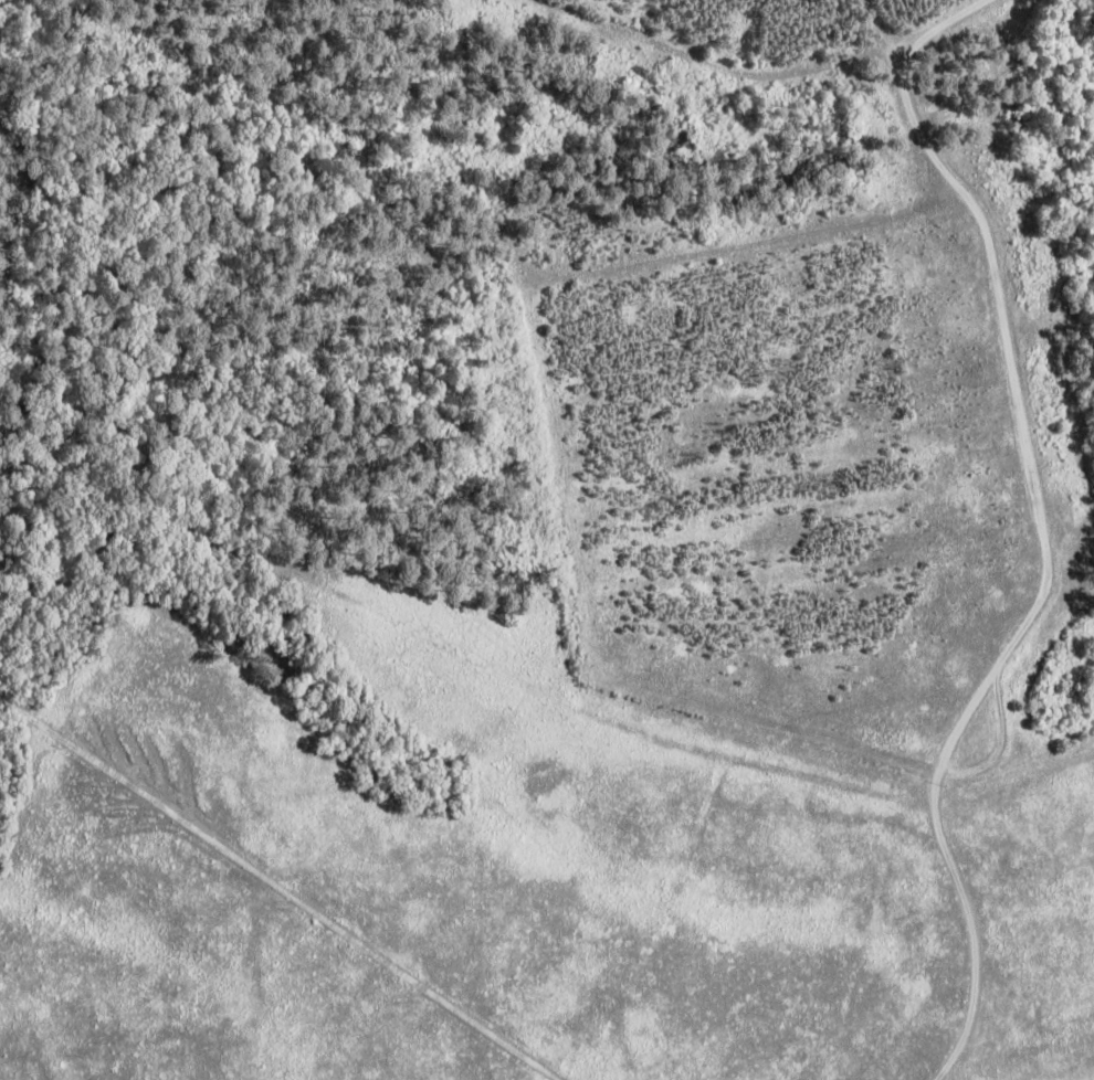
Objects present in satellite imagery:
road: (1012, 368)
road: (556, 423)
road: (32, 716)
road: (997, 739)
road: (319, 909)
road: (976, 923)

